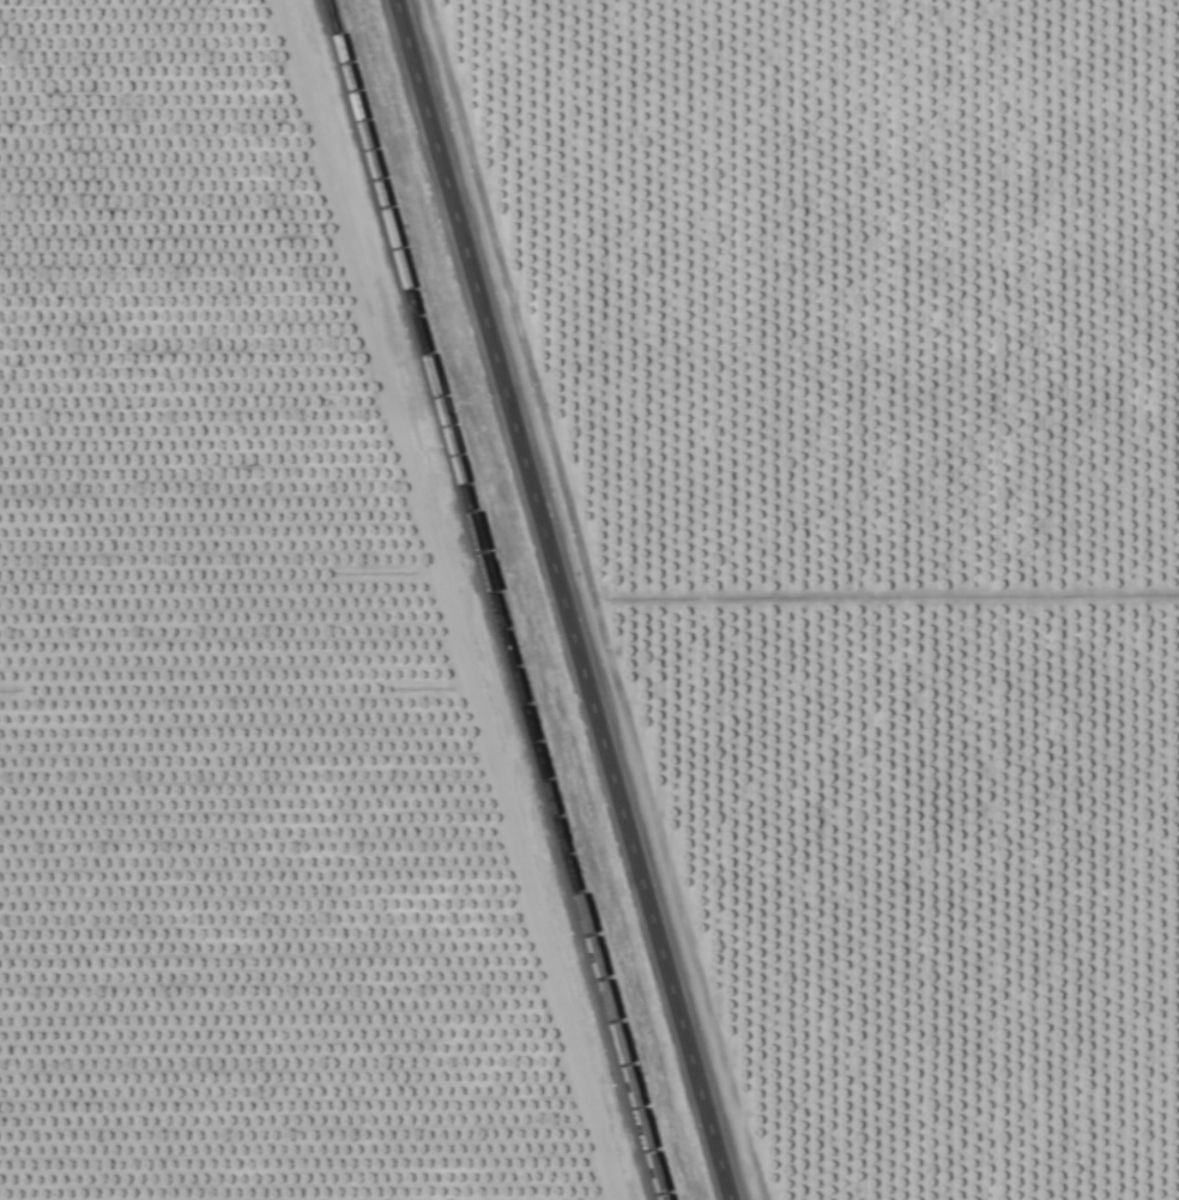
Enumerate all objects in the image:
railway: (486, 599)
road: (556, 599)
crop: (589, 599)

